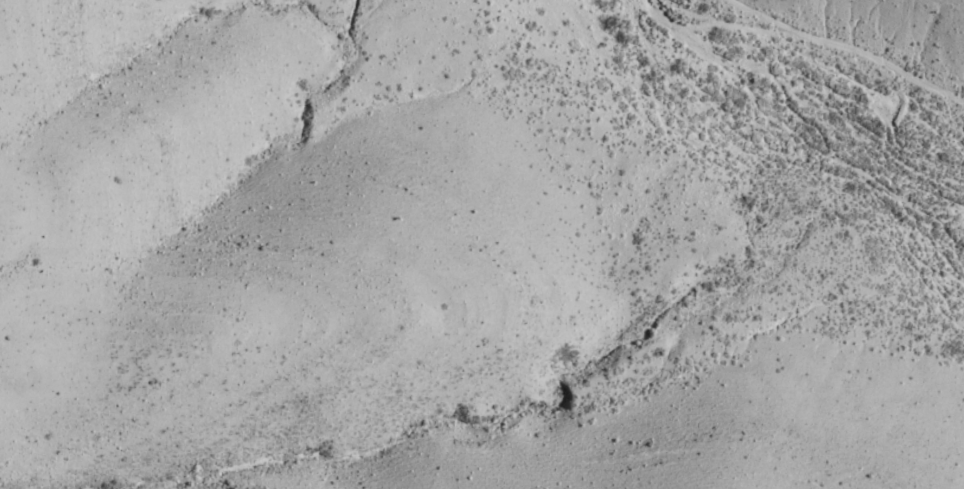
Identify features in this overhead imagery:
road: (824, 57)

